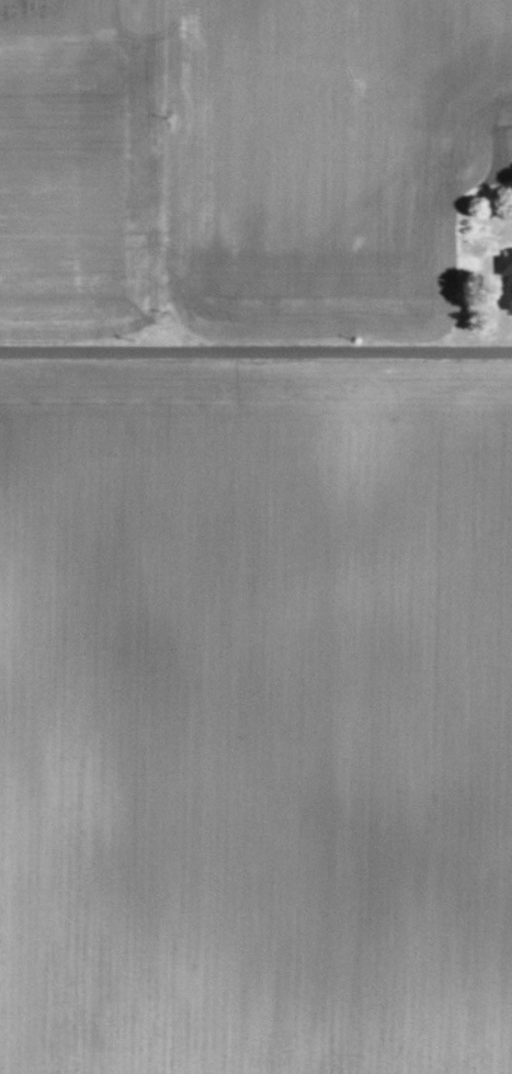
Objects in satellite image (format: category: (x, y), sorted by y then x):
building: (507, 270)
road: (255, 352)

